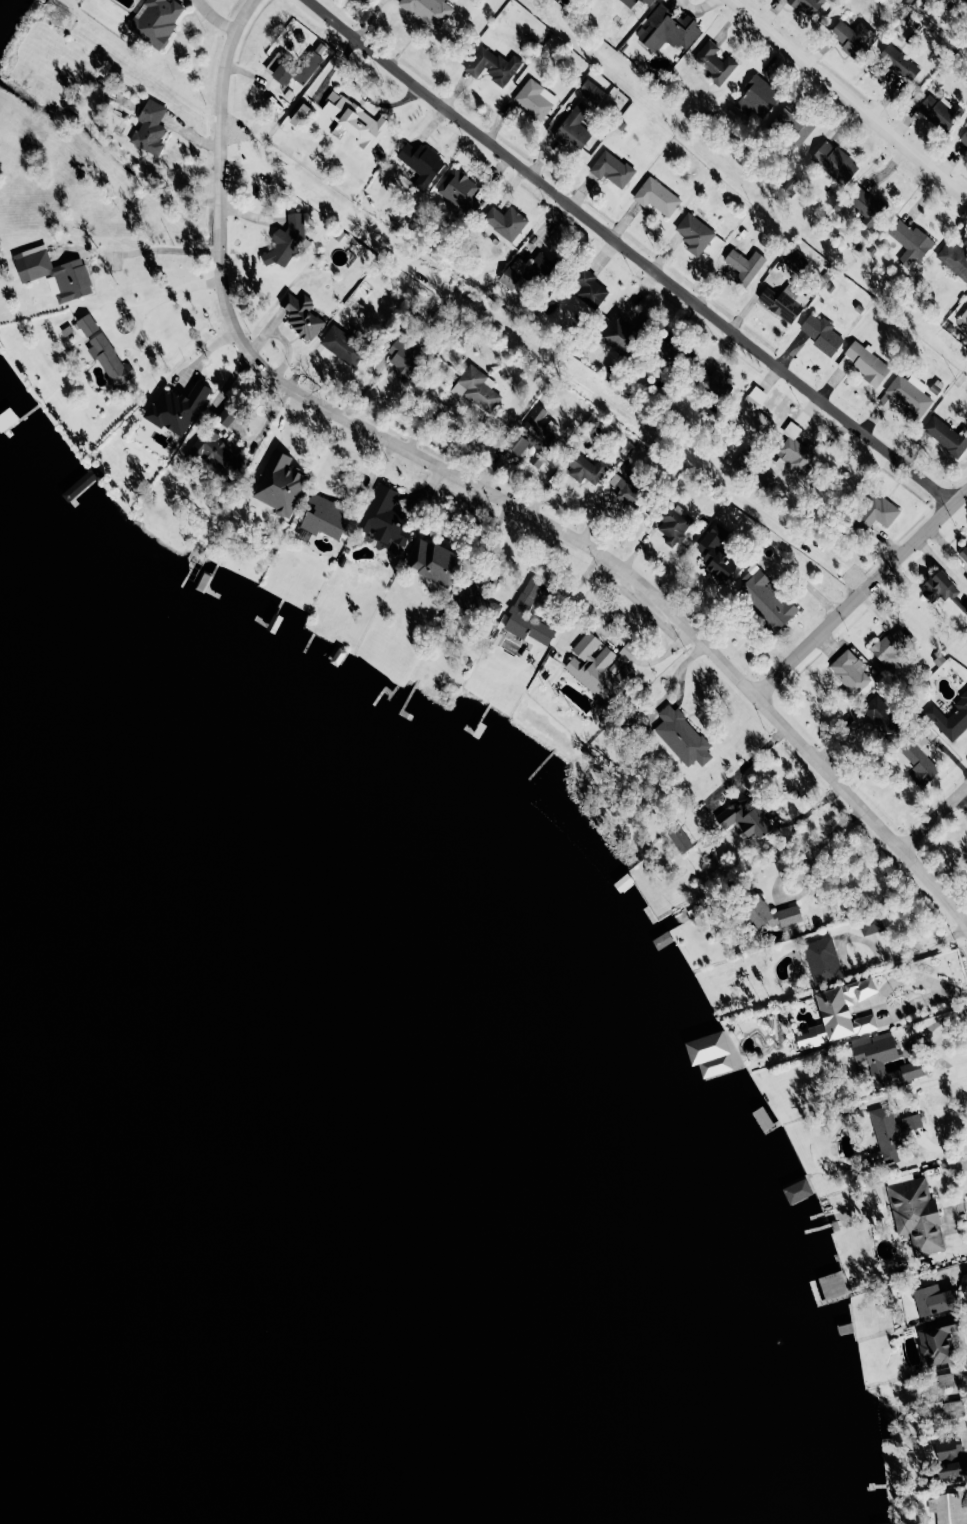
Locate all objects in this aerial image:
building: (966, 0)
building: (630, 2)
building: (646, 2)
building: (807, 6)
building: (429, 10)
building: (156, 21)
building: (667, 29)
building: (852, 37)
building: (714, 62)
building: (493, 64)
building: (892, 64)
building: (293, 67)
building: (591, 91)
building: (757, 97)
building: (533, 99)
road: (843, 106)
building: (939, 111)
building: (357, 122)
building: (792, 124)
building: (150, 128)
building: (574, 128)
building: (964, 139)
building: (966, 151)
building: (835, 162)
building: (421, 164)
building: (612, 168)
building: (459, 191)
building: (656, 196)
building: (866, 207)
building: (504, 222)
building: (694, 232)
building: (910, 242)
building: (285, 244)
road: (148, 249)
road: (631, 254)
building: (954, 259)
building: (795, 261)
building: (542, 266)
building: (744, 266)
building: (513, 272)
building: (53, 273)
building: (589, 288)
road: (170, 295)
building: (781, 301)
building: (964, 313)
building: (301, 315)
building: (87, 324)
building: (819, 333)
building: (619, 335)
building: (343, 346)
building: (667, 352)
building: (403, 358)
building: (110, 362)
building: (864, 362)
building: (718, 385)
building: (476, 388)
building: (910, 396)
building: (176, 408)
building: (226, 415)
building: (752, 415)
building: (533, 432)
building: (948, 436)
building: (794, 452)
building: (586, 469)
building: (279, 484)
building: (626, 490)
road: (490, 494)
building: (875, 513)
building: (323, 517)
building: (384, 517)
building: (674, 523)
building: (963, 553)
building: (718, 555)
building: (434, 562)
building: (942, 591)
building: (525, 598)
road: (860, 599)
building: (478, 604)
building: (889, 648)
building: (600, 667)
building: (849, 673)
building: (879, 712)
building: (950, 718)
building: (682, 736)
building: (921, 763)
road: (742, 765)
road: (934, 819)
building: (745, 820)
road: (781, 822)
building: (679, 838)
road: (784, 869)
building: (770, 914)
building: (871, 925)
building: (822, 961)
road: (868, 963)
road: (956, 991)
road: (879, 998)
building: (839, 1013)
building: (712, 1052)
building: (884, 1060)
building: (889, 1135)
building: (797, 1191)
building: (916, 1215)
building: (934, 1300)
building: (937, 1342)
building: (945, 1380)
building: (946, 1410)
building: (950, 1458)

